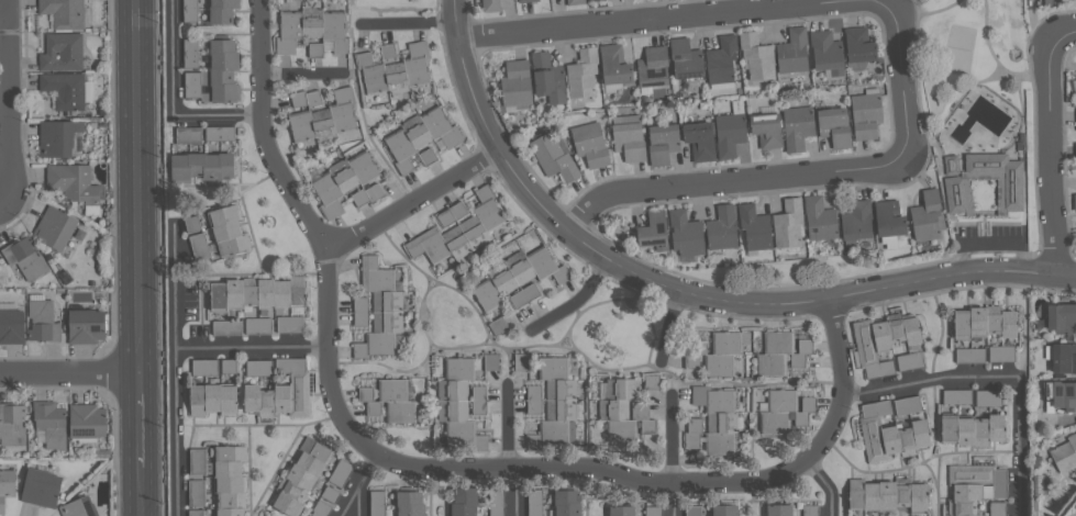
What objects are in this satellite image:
building: (592, 0)
building: (525, 1)
road: (886, 1)
building: (575, 2)
building: (1052, 3)
building: (490, 5)
building: (221, 11)
building: (63, 13)
road: (930, 13)
road: (2, 18)
road: (409, 22)
road: (646, 22)
building: (310, 24)
road: (1064, 42)
building: (858, 45)
building: (315, 49)
building: (387, 51)
building: (60, 52)
building: (792, 52)
building: (825, 52)
building: (190, 53)
building: (756, 57)
building: (685, 59)
building: (721, 60)
road: (998, 60)
building: (613, 65)
building: (652, 66)
building: (223, 70)
building: (583, 72)
building: (396, 76)
building: (547, 78)
building: (514, 83)
road: (900, 85)
building: (63, 90)
road: (170, 101)
road: (4, 102)
building: (1075, 112)
building: (865, 115)
park: (983, 122)
building: (322, 123)
building: (797, 126)
building: (833, 126)
building: (766, 130)
building: (220, 133)
building: (415, 133)
building: (729, 134)
building: (188, 135)
building: (57, 137)
building: (629, 141)
building: (699, 141)
building: (662, 143)
building: (589, 145)
building: (552, 157)
road: (1053, 159)
building: (201, 167)
building: (344, 176)
road: (725, 181)
building: (74, 184)
road: (135, 187)
building: (957, 195)
road: (412, 200)
building: (1074, 202)
road: (2, 204)
building: (927, 215)
building: (819, 218)
building: (888, 218)
building: (856, 220)
building: (787, 224)
building: (754, 227)
building: (54, 228)
building: (721, 228)
building: (228, 231)
building: (653, 231)
building: (458, 233)
building: (685, 233)
building: (24, 258)
road: (1065, 276)
building: (511, 277)
road: (672, 289)
building: (258, 293)
road: (174, 298)
road: (575, 299)
building: (380, 311)
building: (1061, 317)
building: (42, 321)
building: (981, 323)
building: (289, 324)
building: (258, 325)
building: (11, 326)
building: (86, 326)
building: (883, 336)
road: (834, 348)
road: (173, 354)
building: (721, 354)
building: (773, 354)
building: (1063, 358)
building: (908, 360)
building: (521, 361)
building: (491, 362)
building: (258, 368)
road: (68, 373)
road: (996, 378)
building: (1064, 395)
building: (956, 396)
building: (279, 397)
building: (211, 399)
building: (980, 399)
building: (368, 400)
building: (455, 400)
building: (556, 400)
building: (397, 401)
building: (808, 403)
building: (907, 405)
building: (618, 408)
building: (777, 412)
building: (717, 418)
road: (137, 419)
building: (86, 420)
building: (49, 423)
building: (11, 425)
road: (506, 427)
building: (970, 430)
building: (692, 434)
road: (669, 438)
building: (891, 438)
building: (1064, 453)
road: (387, 457)
building: (198, 460)
building: (301, 475)
building: (229, 480)
road: (357, 484)
road: (827, 485)
building: (5, 486)
building: (973, 486)
building: (41, 487)
road: (138, 491)
building: (197, 493)
building: (884, 495)
building: (463, 502)
building: (409, 503)
building: (496, 503)
building: (534, 503)
building: (566, 503)
building: (79, 507)
road: (1069, 507)
building: (997, 508)
building: (778, 509)
building: (620, 511)
building: (652, 511)
building: (692, 511)
building: (724, 511)
building: (810, 511)
building: (195, 513)
building: (917, 514)

